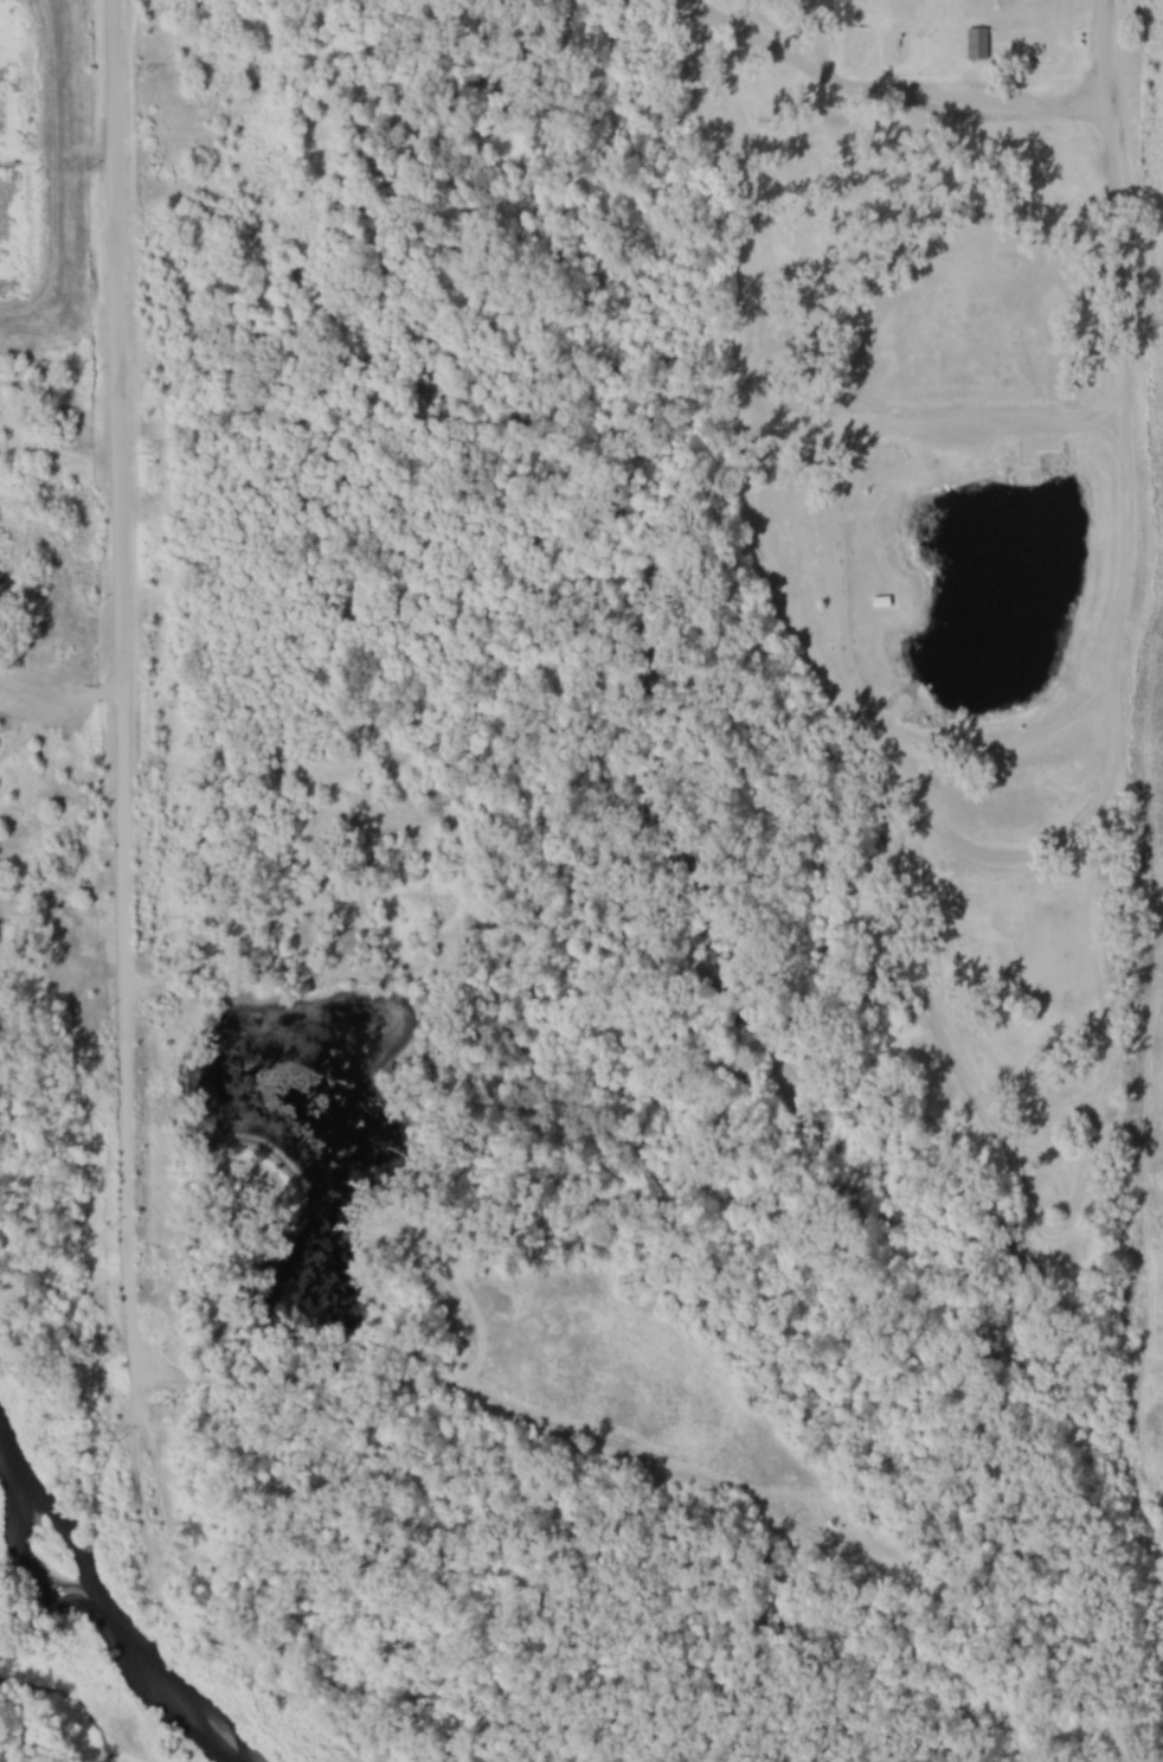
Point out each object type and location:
road: (821, 40)
building: (972, 45)
road: (886, 98)
road: (753, 528)
road: (120, 681)
road: (1112, 744)
river: (102, 1614)

